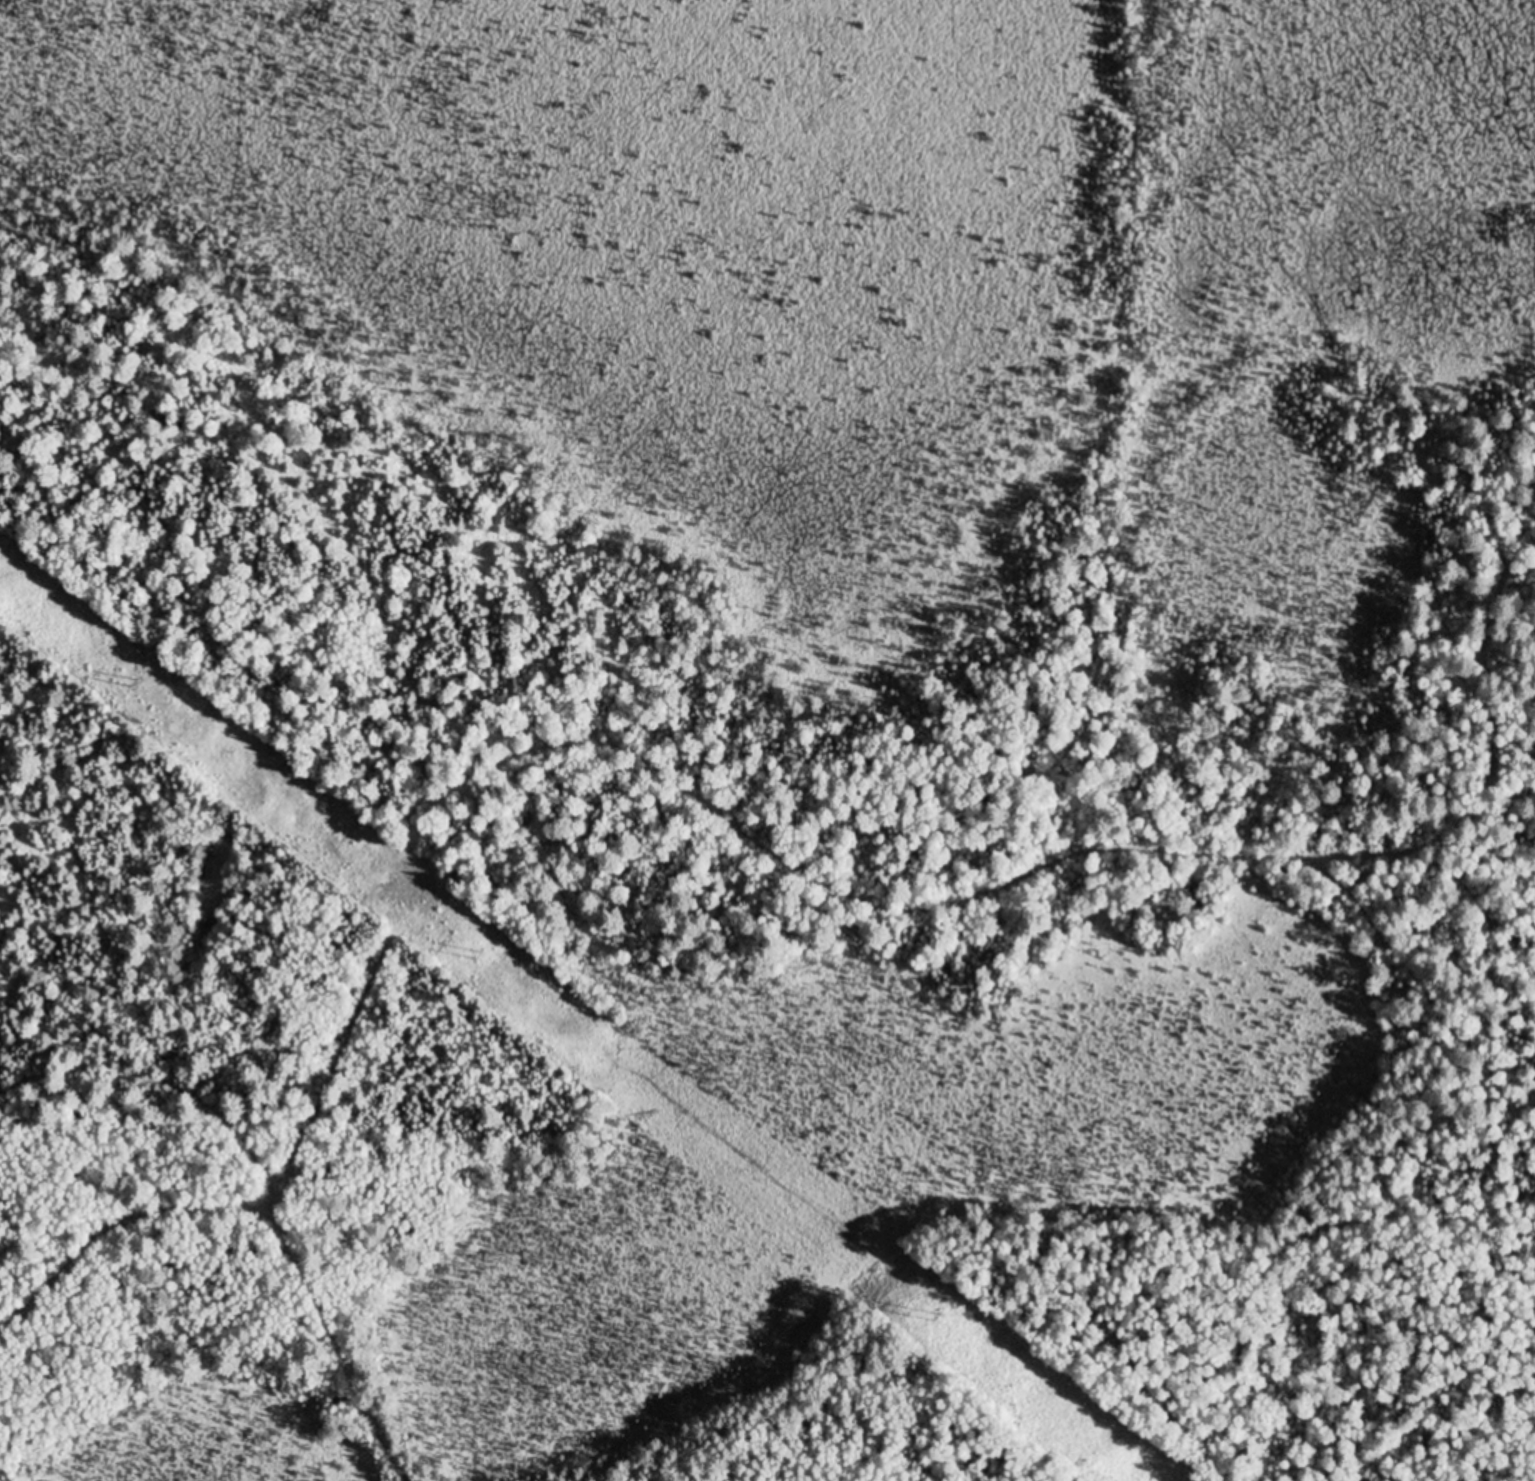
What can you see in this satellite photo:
power tower: (139, 685)
power tower: (483, 957)
road: (258, 1219)
power tower: (951, 1318)

